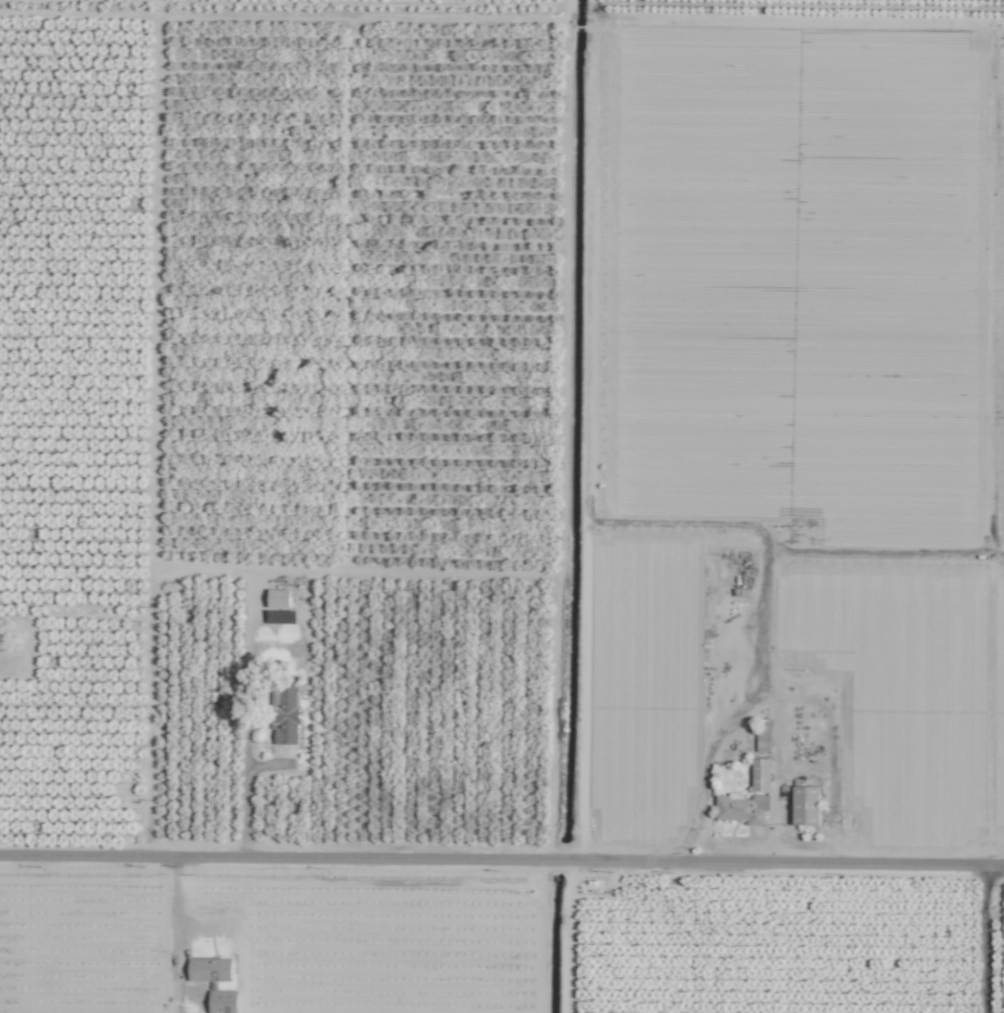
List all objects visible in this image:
building: (278, 598)
building: (284, 714)
building: (763, 739)
building: (760, 774)
building: (805, 805)
building: (741, 808)
road: (501, 878)
road: (177, 935)
building: (209, 969)
building: (222, 1001)

